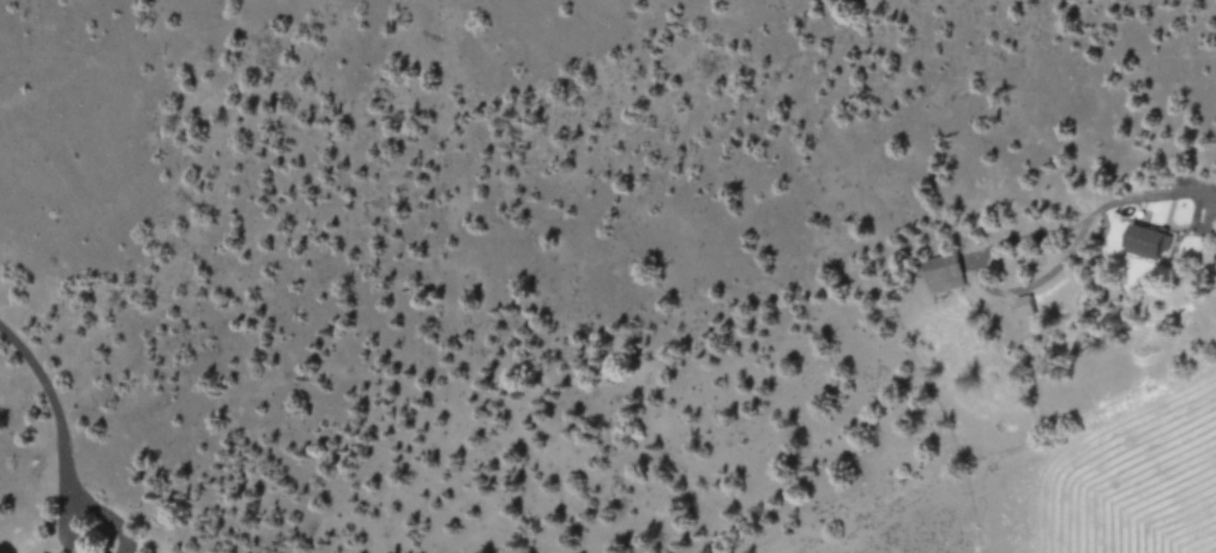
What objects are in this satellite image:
building: (1146, 241)
building: (941, 271)
building: (1024, 305)
crop: (1128, 474)
building: (80, 548)
building: (38, 552)
building: (61, 552)

